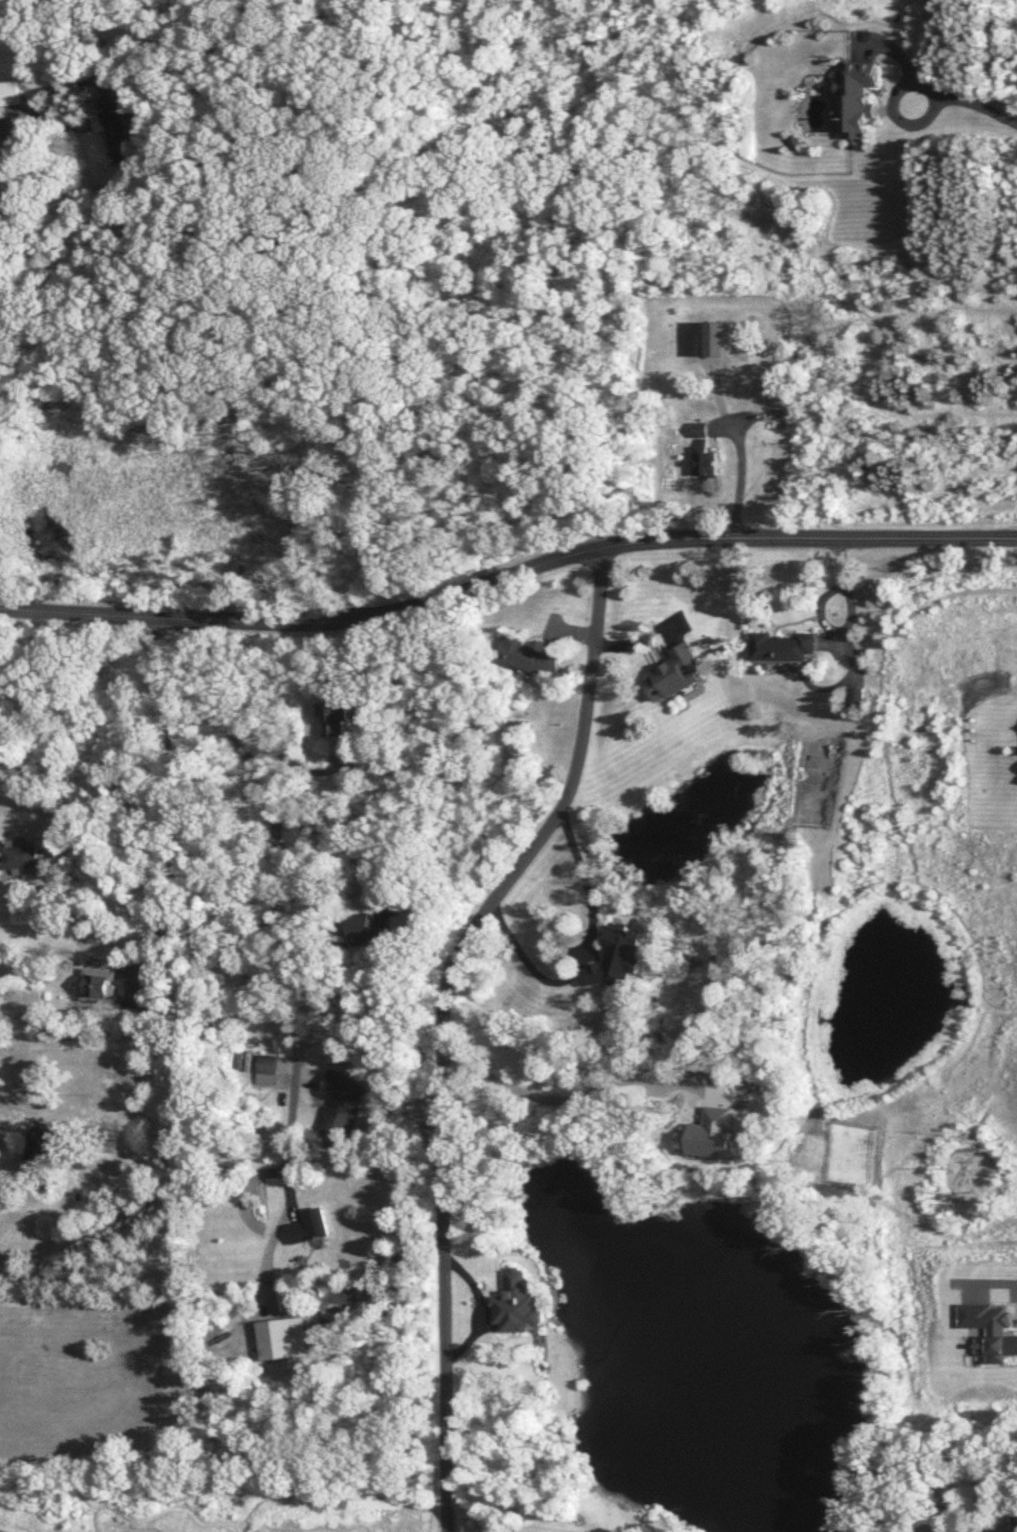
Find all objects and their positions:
building: (31, 35)
road: (100, 89)
building: (9, 93)
building: (857, 97)
road: (965, 102)
road: (15, 119)
building: (119, 126)
building: (718, 338)
building: (705, 459)
road: (740, 472)
road: (507, 576)
building: (784, 646)
building: (530, 656)
building: (677, 674)
building: (857, 696)
building: (334, 717)
road: (169, 801)
road: (334, 836)
road: (269, 837)
building: (20, 858)
building: (371, 935)
road: (584, 954)
building: (620, 959)
road: (436, 1016)
building: (267, 1064)
road: (307, 1082)
road: (536, 1090)
building: (342, 1094)
road: (285, 1148)
building: (43, 1151)
building: (310, 1228)
road: (264, 1260)
road: (996, 1274)
building: (519, 1302)
road: (480, 1306)
building: (283, 1340)
park: (31, 1516)
road: (3, 1531)

